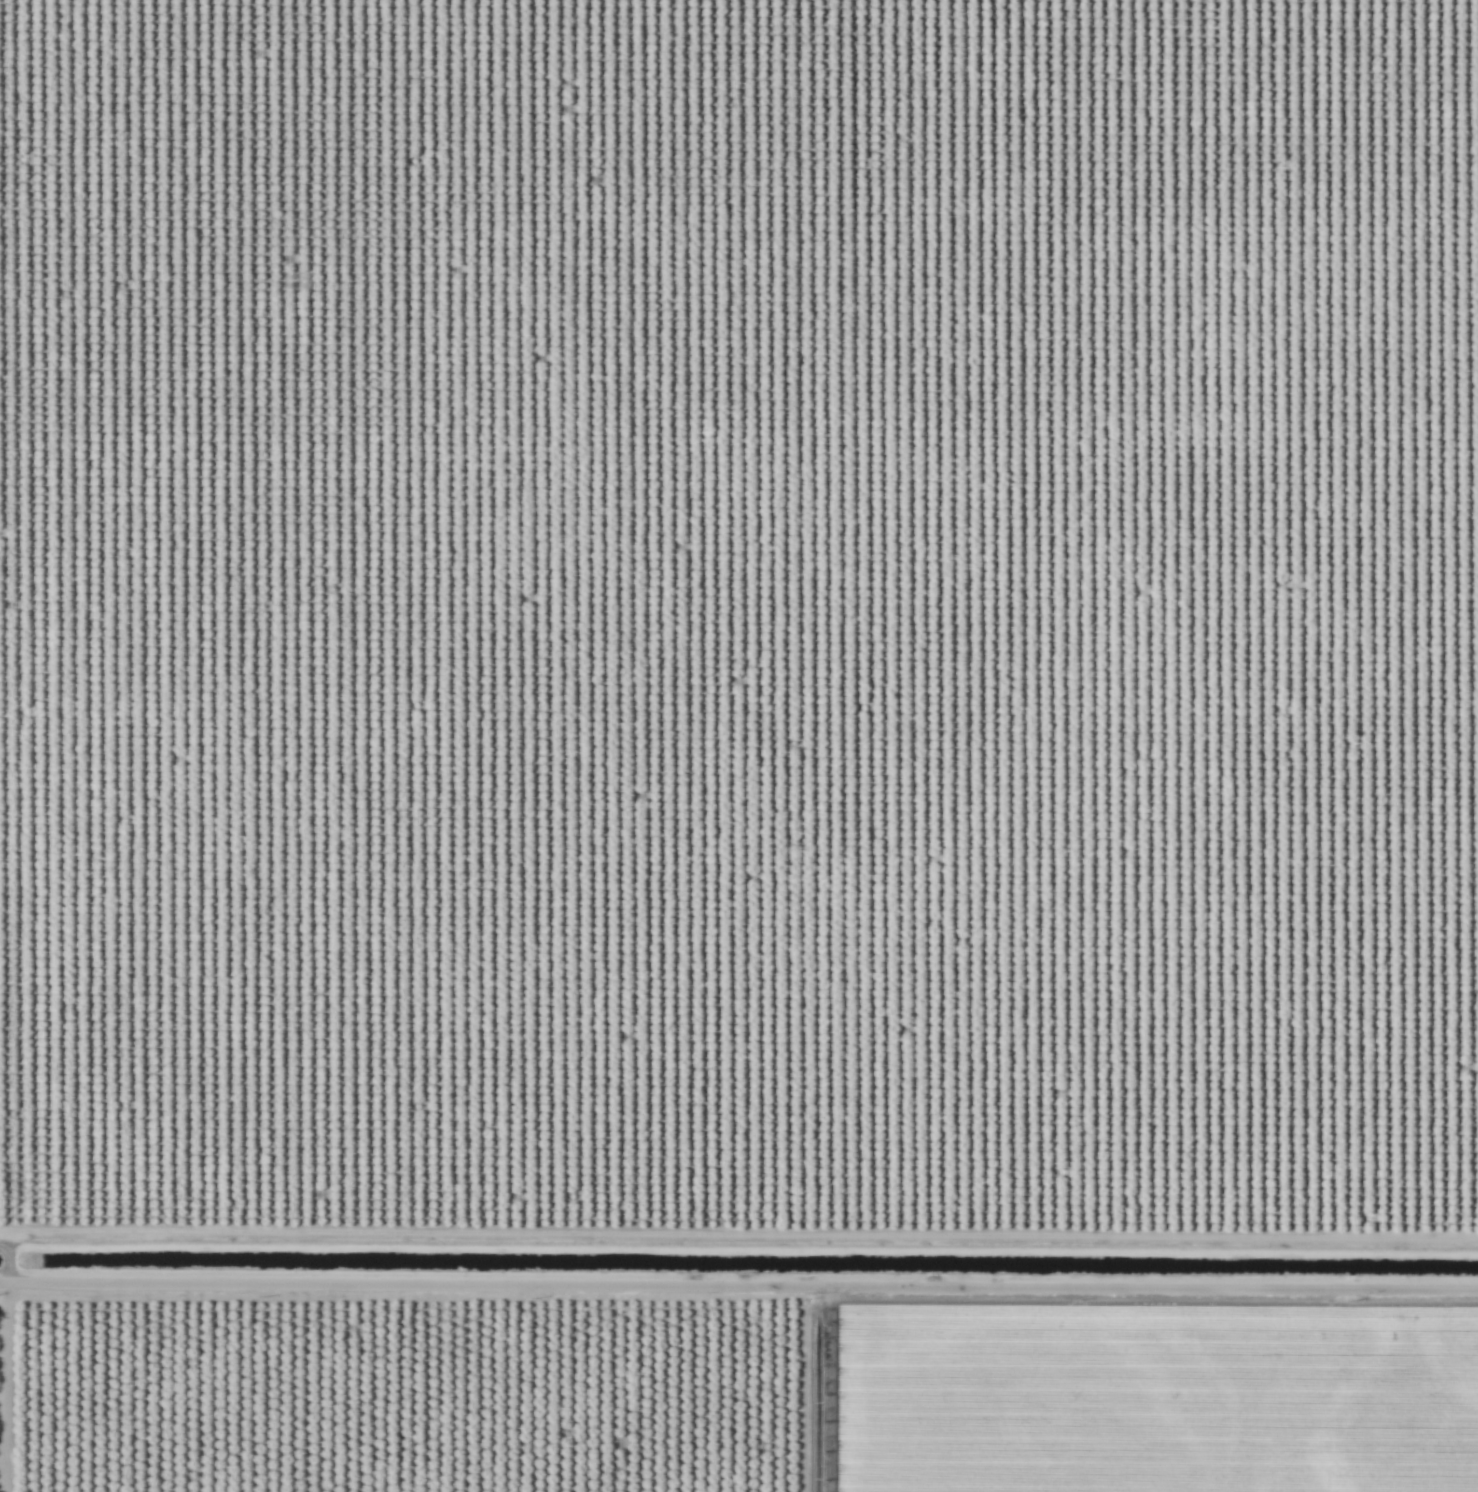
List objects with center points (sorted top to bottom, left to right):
road: (5, 746)
road: (738, 1284)
crop: (1, 1378)
crop: (422, 1397)
crop: (1162, 1400)

